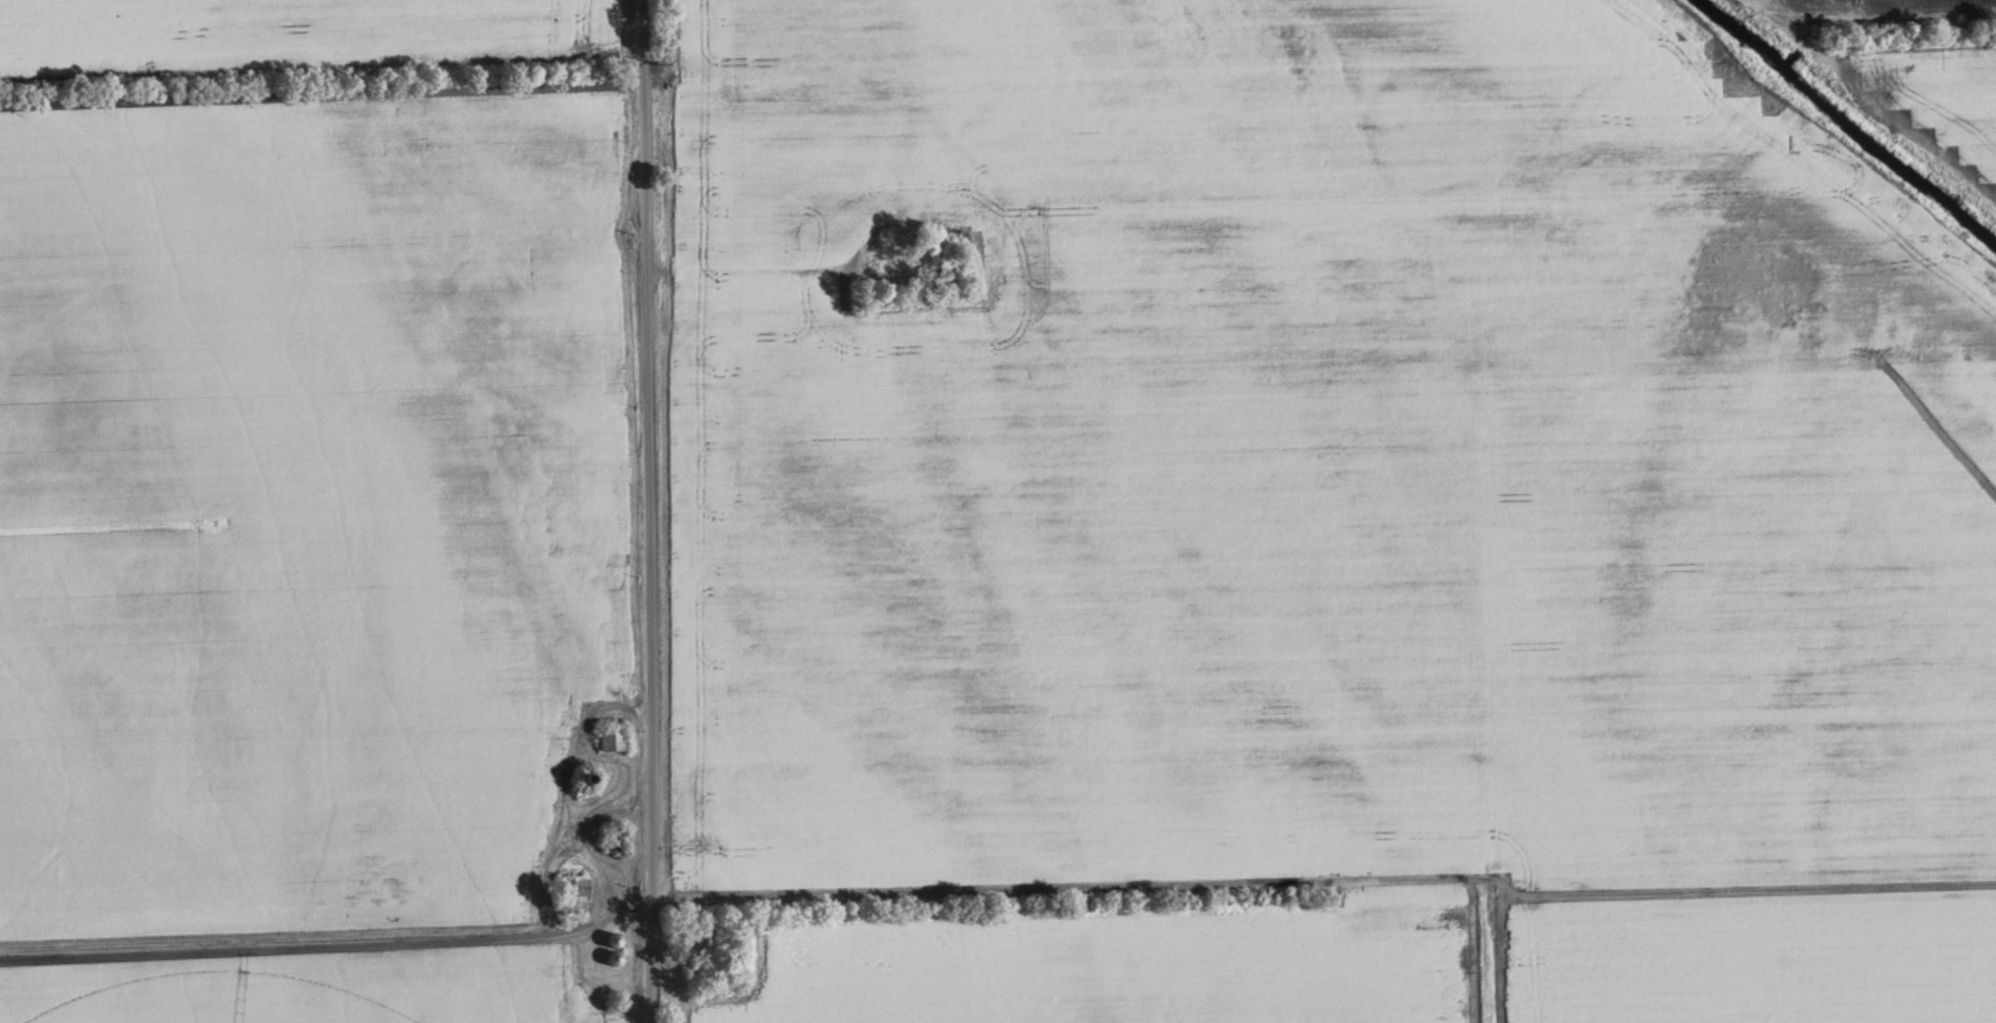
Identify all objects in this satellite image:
road: (649, 511)
building: (610, 740)
road: (630, 837)
road: (343, 926)

